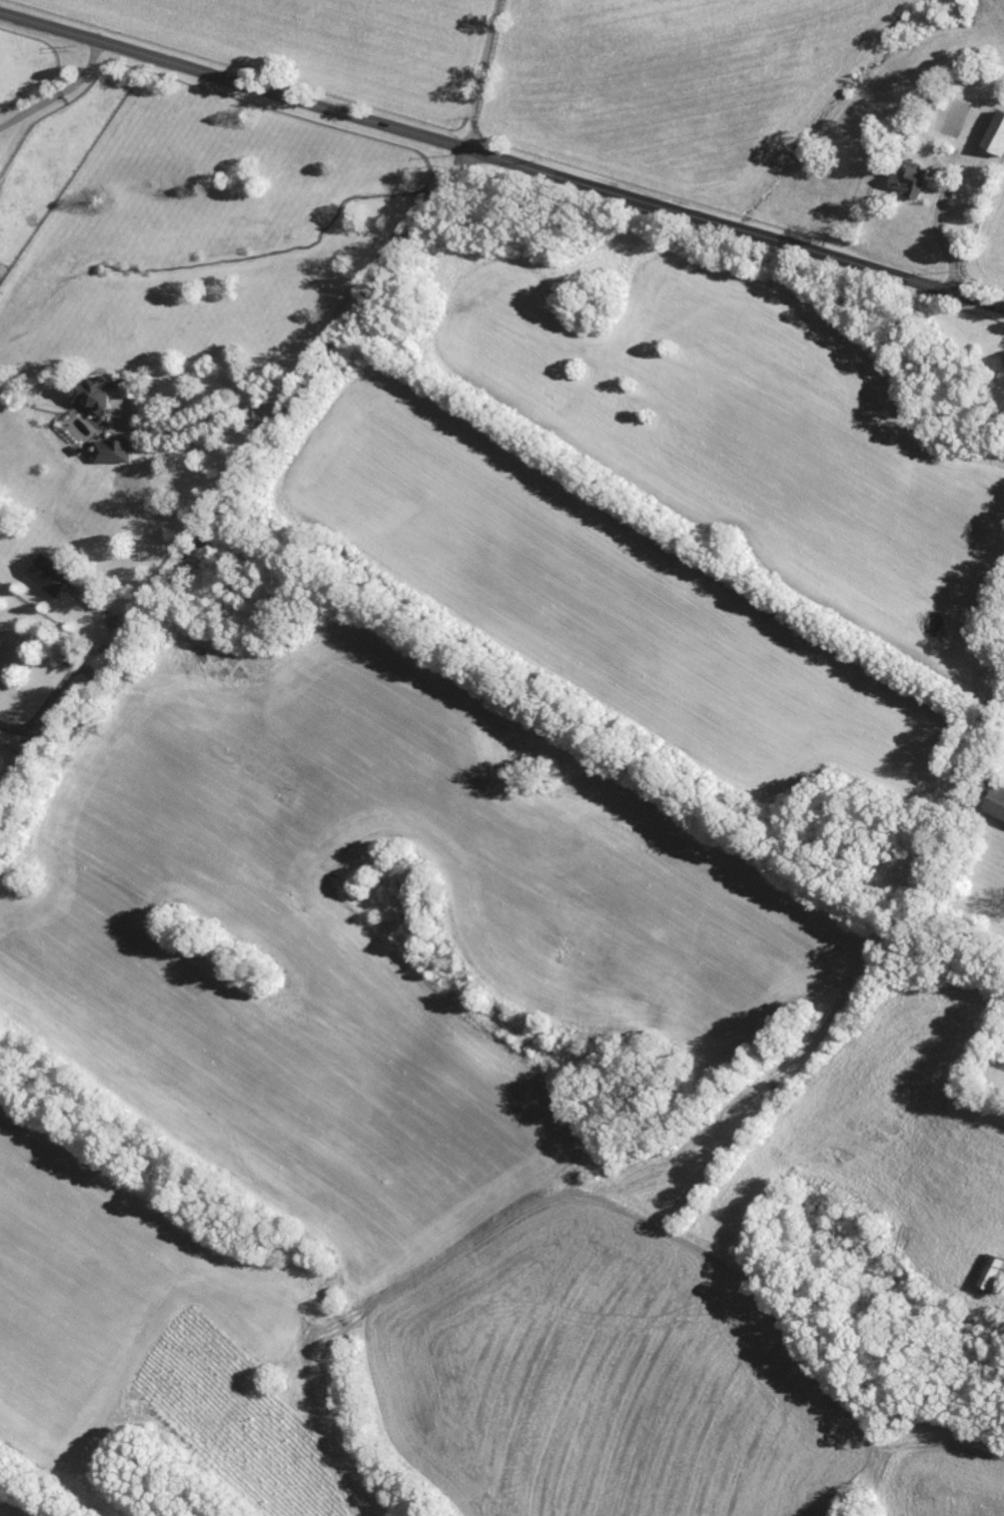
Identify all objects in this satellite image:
road: (485, 75)
road: (57, 93)
building: (996, 135)
road: (502, 159)
building: (910, 181)
road: (942, 237)
building: (99, 392)
road: (207, 420)
building: (113, 452)
road: (235, 492)
building: (48, 574)
road: (52, 697)
building: (997, 803)
building: (992, 1273)

